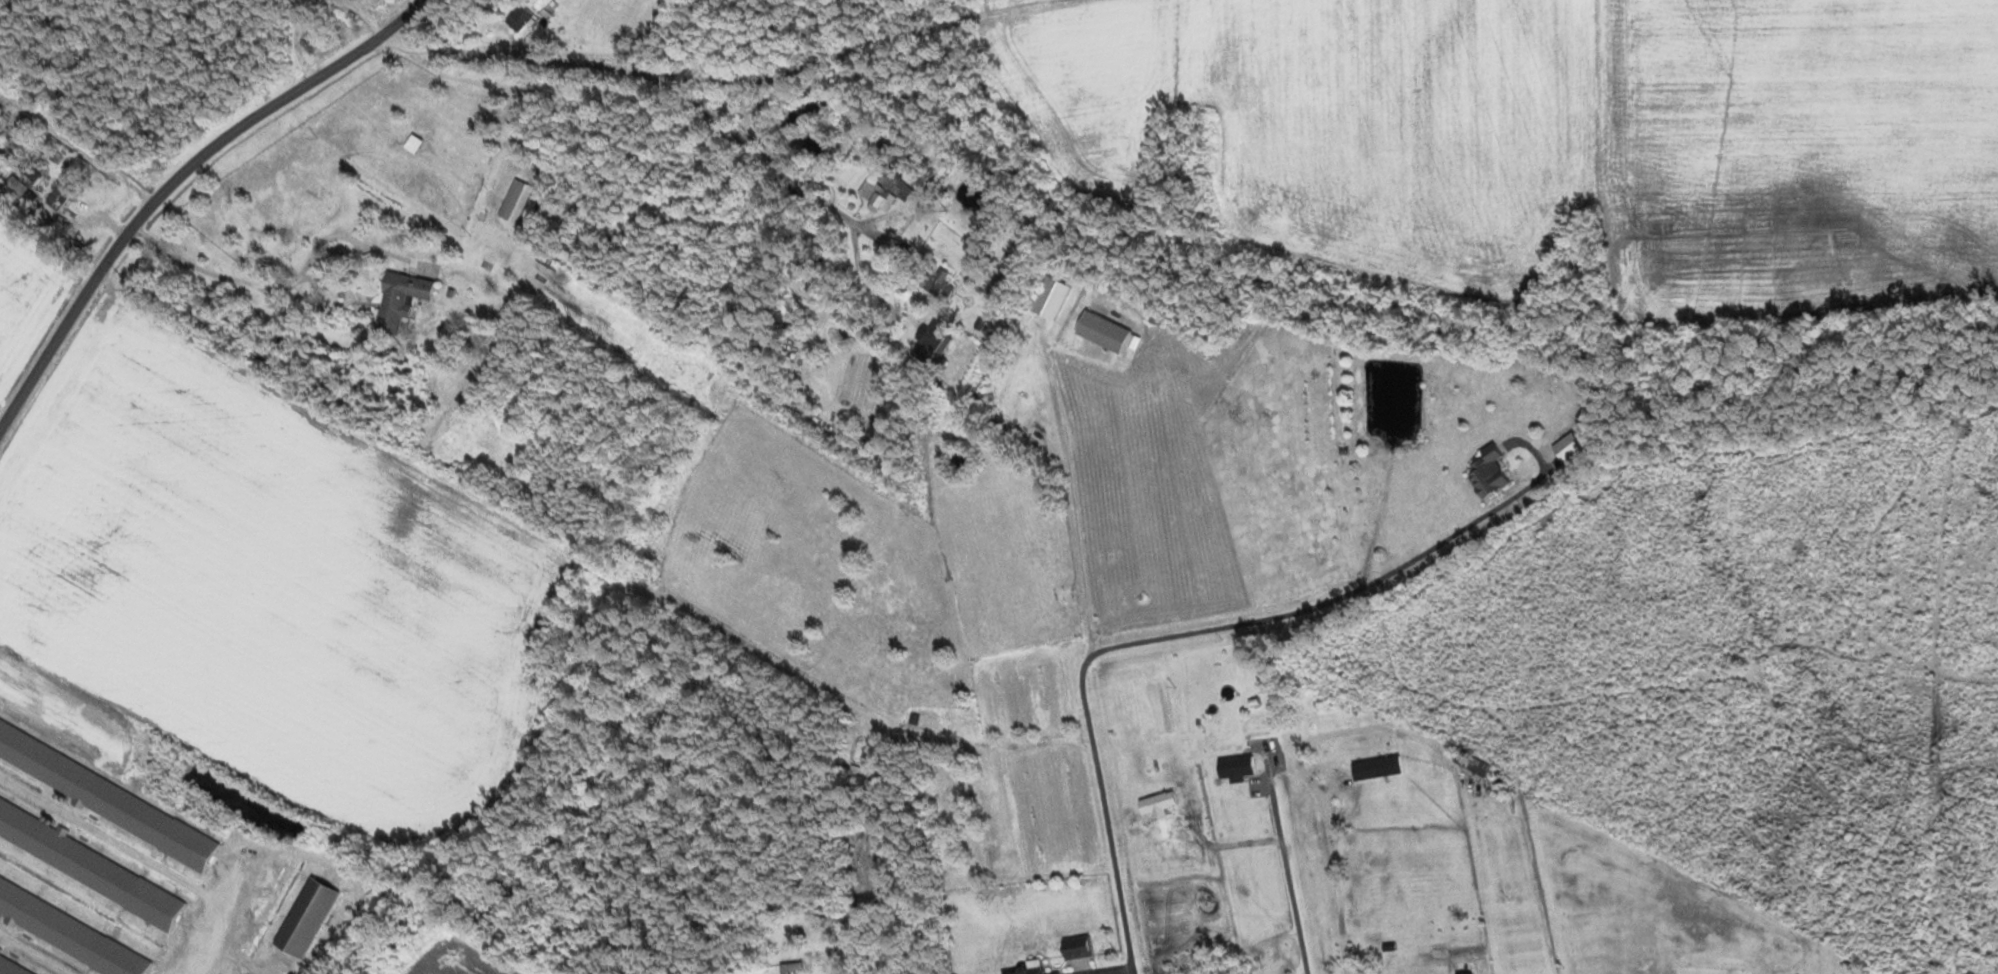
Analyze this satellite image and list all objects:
building: (363, 0)
building: (520, 16)
road: (647, 80)
building: (414, 142)
road: (75, 156)
building: (904, 158)
building: (31, 175)
road: (173, 181)
building: (890, 187)
building: (62, 193)
building: (515, 199)
building: (937, 281)
building: (1004, 285)
building: (1052, 296)
building: (402, 298)
building: (1158, 317)
building: (934, 340)
building: (1491, 471)
building: (1473, 763)
building: (1237, 767)
building: (1379, 767)
building: (106, 796)
building: (89, 864)
building: (310, 916)
building: (69, 931)
building: (1079, 946)
building: (12, 966)
building: (791, 967)
building: (1034, 967)

